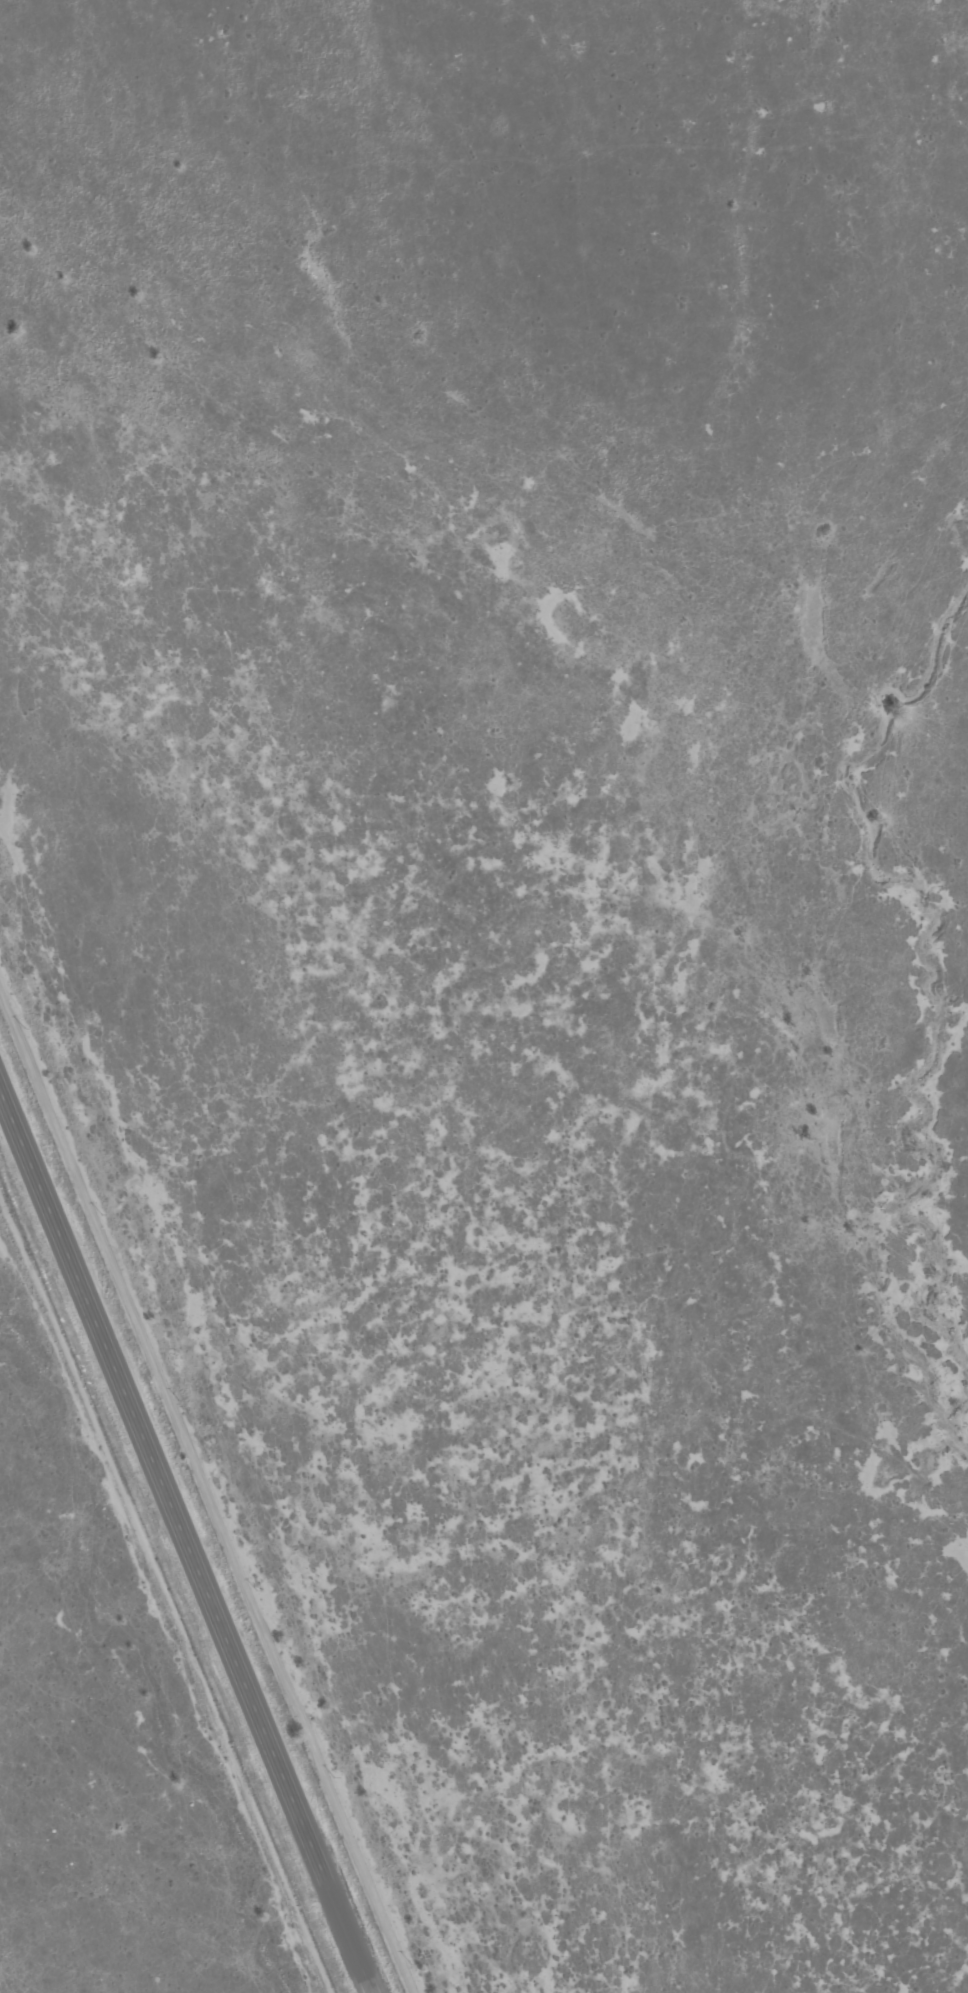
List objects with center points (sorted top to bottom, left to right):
road: (206, 1491)
road: (186, 1541)
road: (161, 1604)

